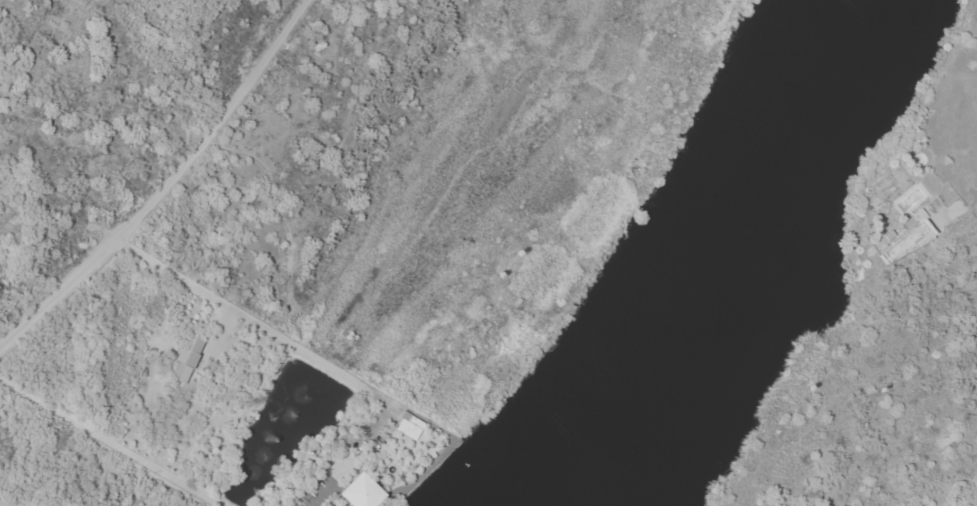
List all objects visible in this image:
road: (167, 186)
building: (887, 186)
building: (911, 235)
river: (713, 265)

